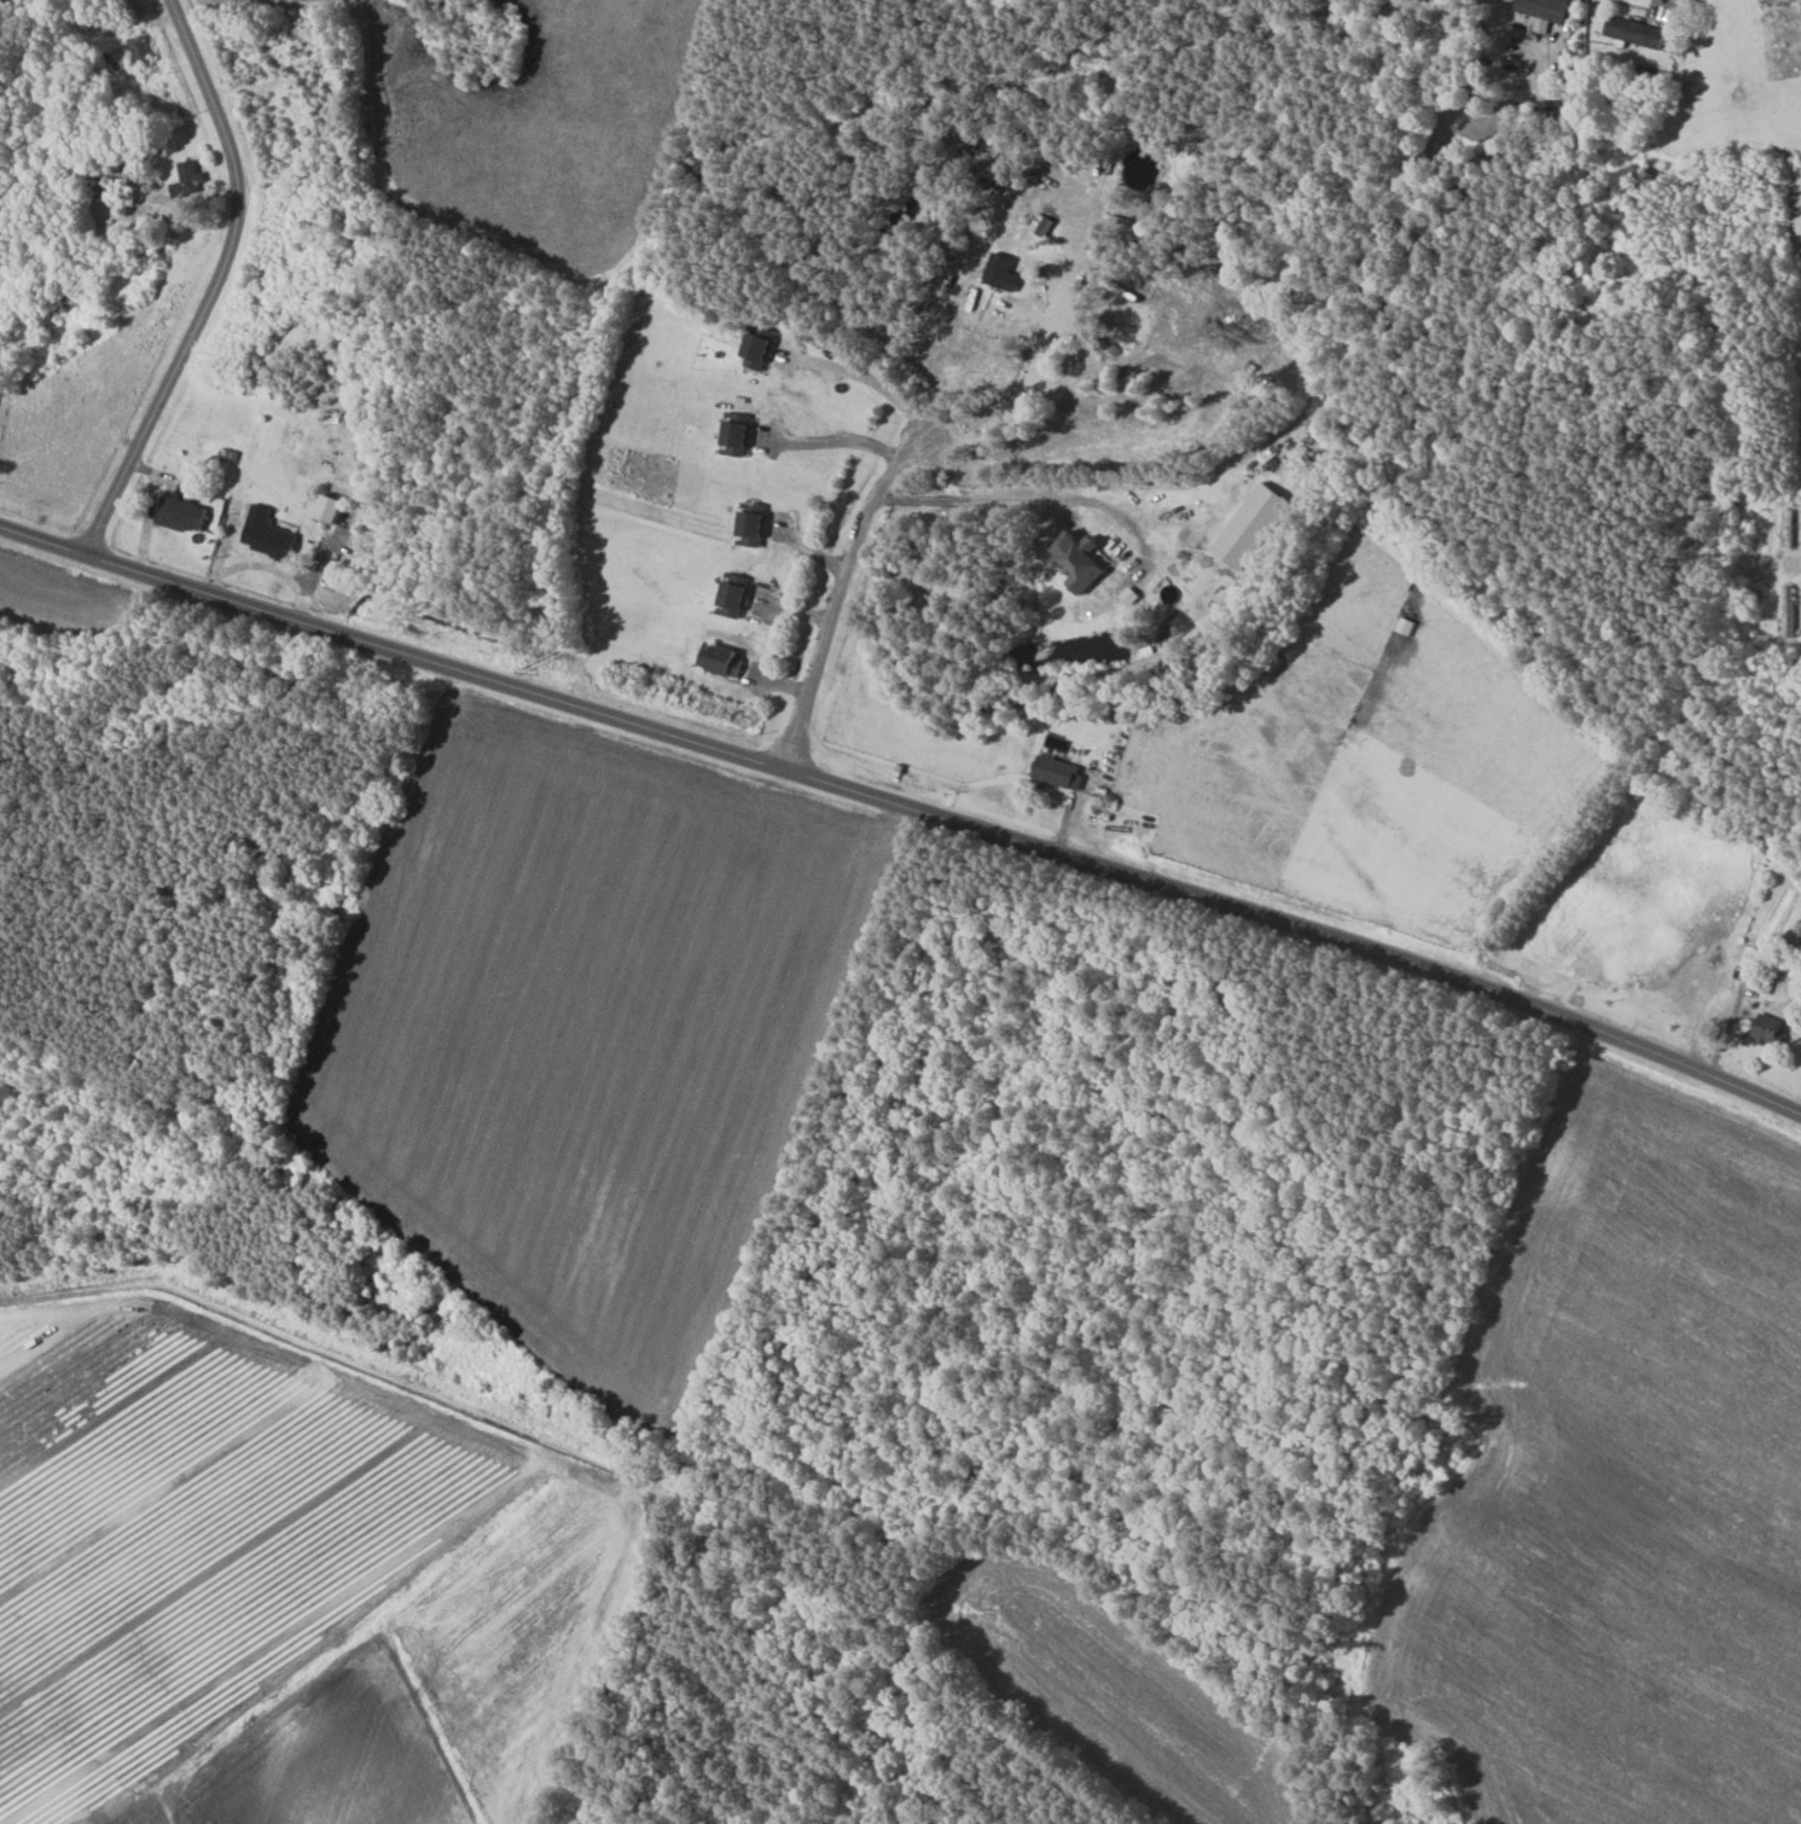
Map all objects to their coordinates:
building: (1637, 31)
building: (139, 48)
building: (190, 180)
building: (1004, 273)
road: (214, 283)
building: (756, 353)
road: (871, 379)
road: (1011, 407)
building: (738, 440)
road: (842, 441)
road: (1017, 498)
building: (332, 509)
building: (182, 516)
building: (754, 528)
building: (268, 535)
building: (1082, 560)
road: (838, 592)
building: (722, 661)
building: (1061, 773)
road: (906, 802)

